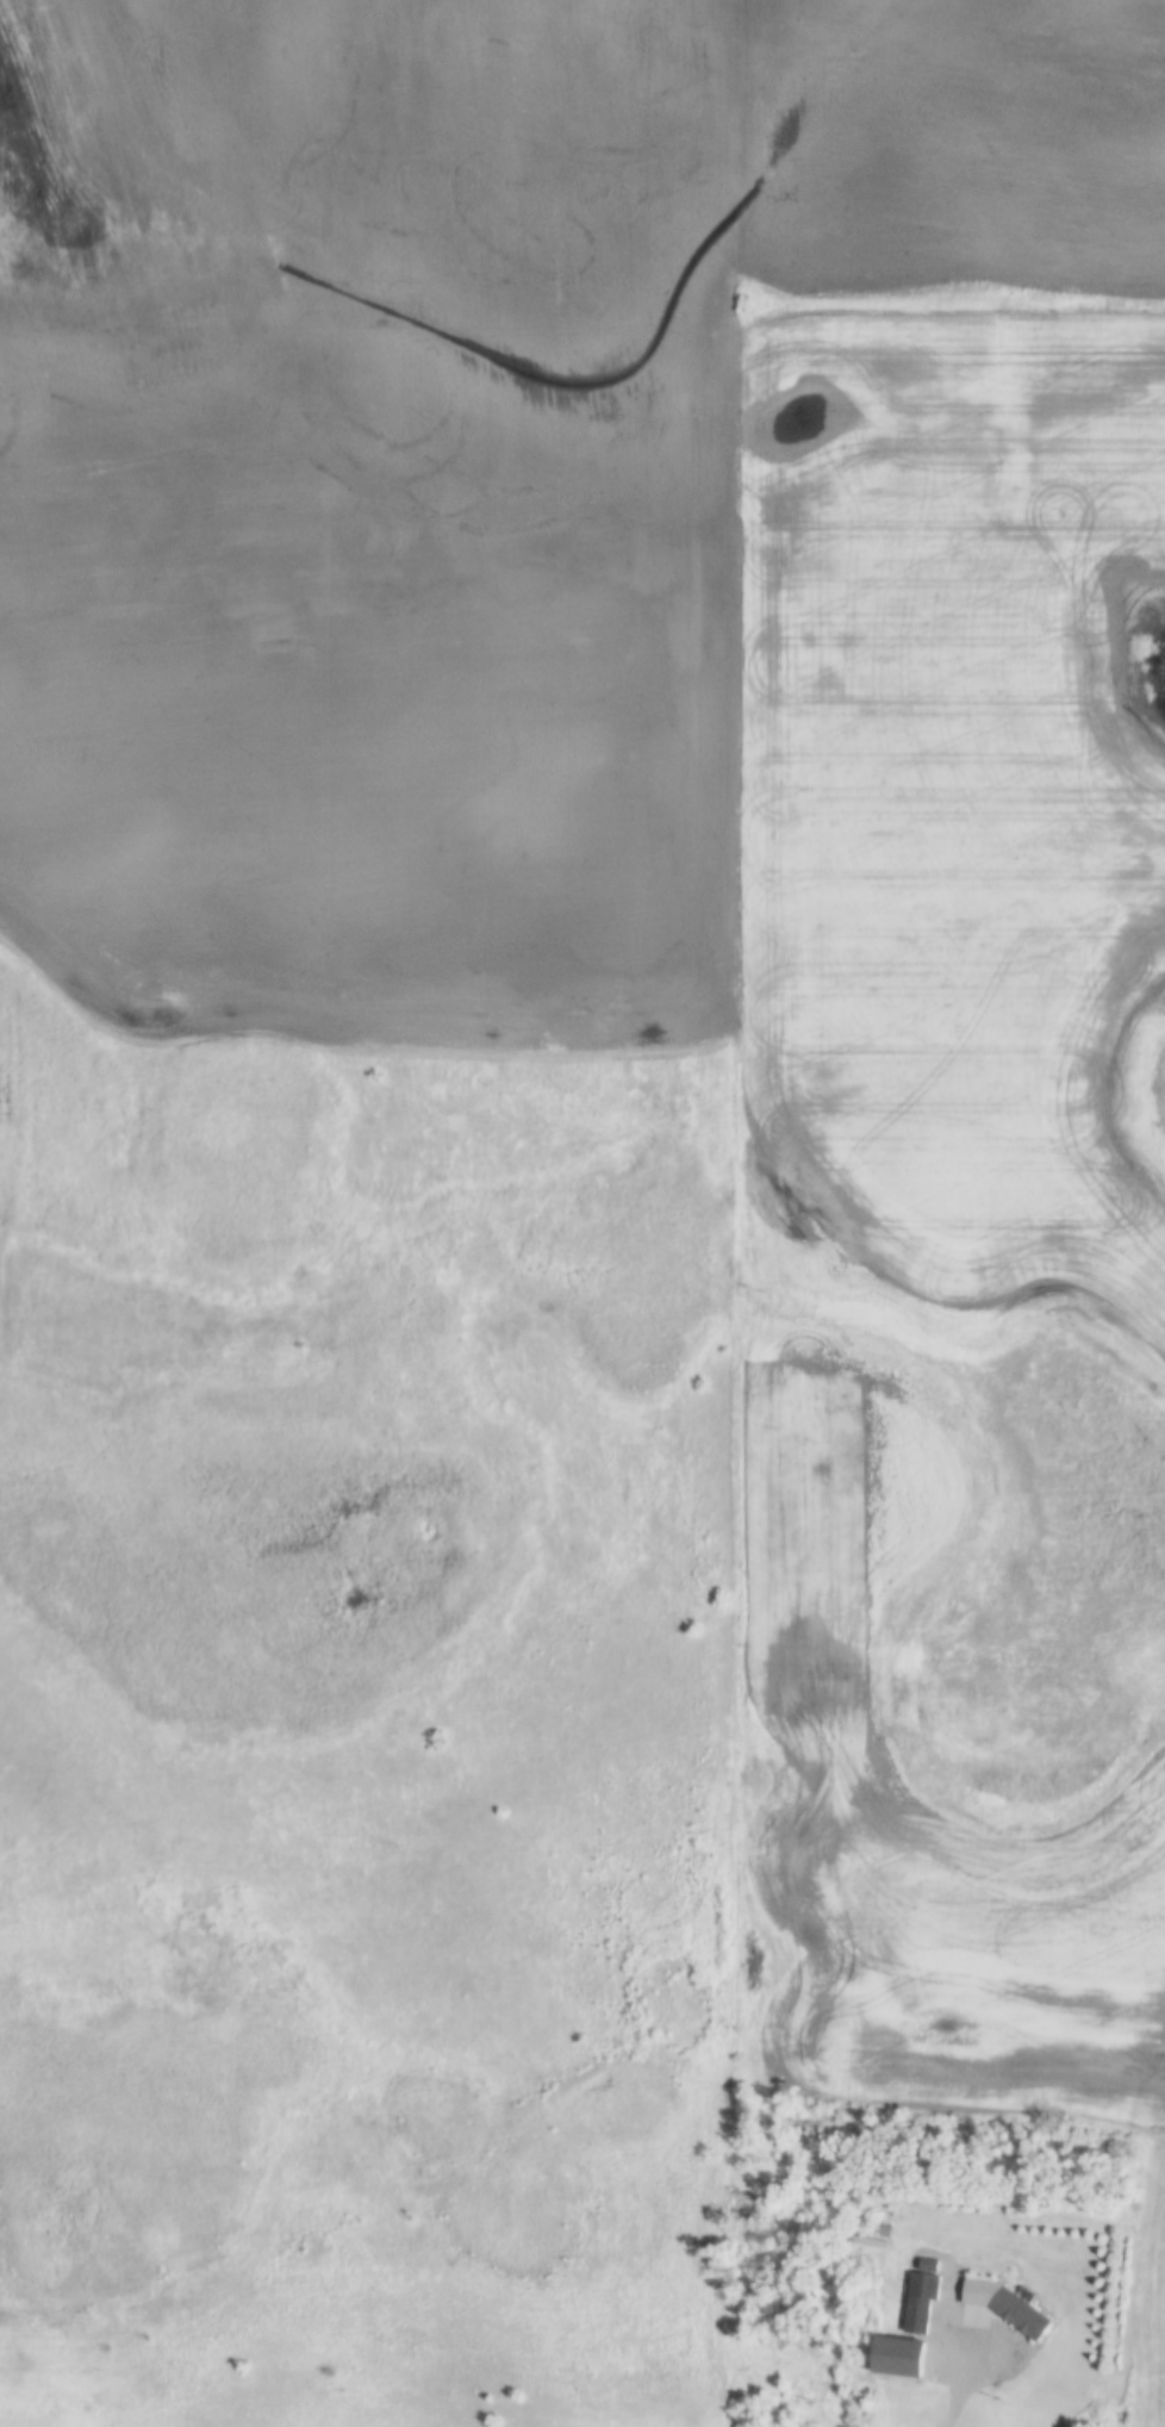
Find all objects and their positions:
building: (921, 2303)
building: (1009, 2308)
road: (953, 2336)
building: (901, 2356)

